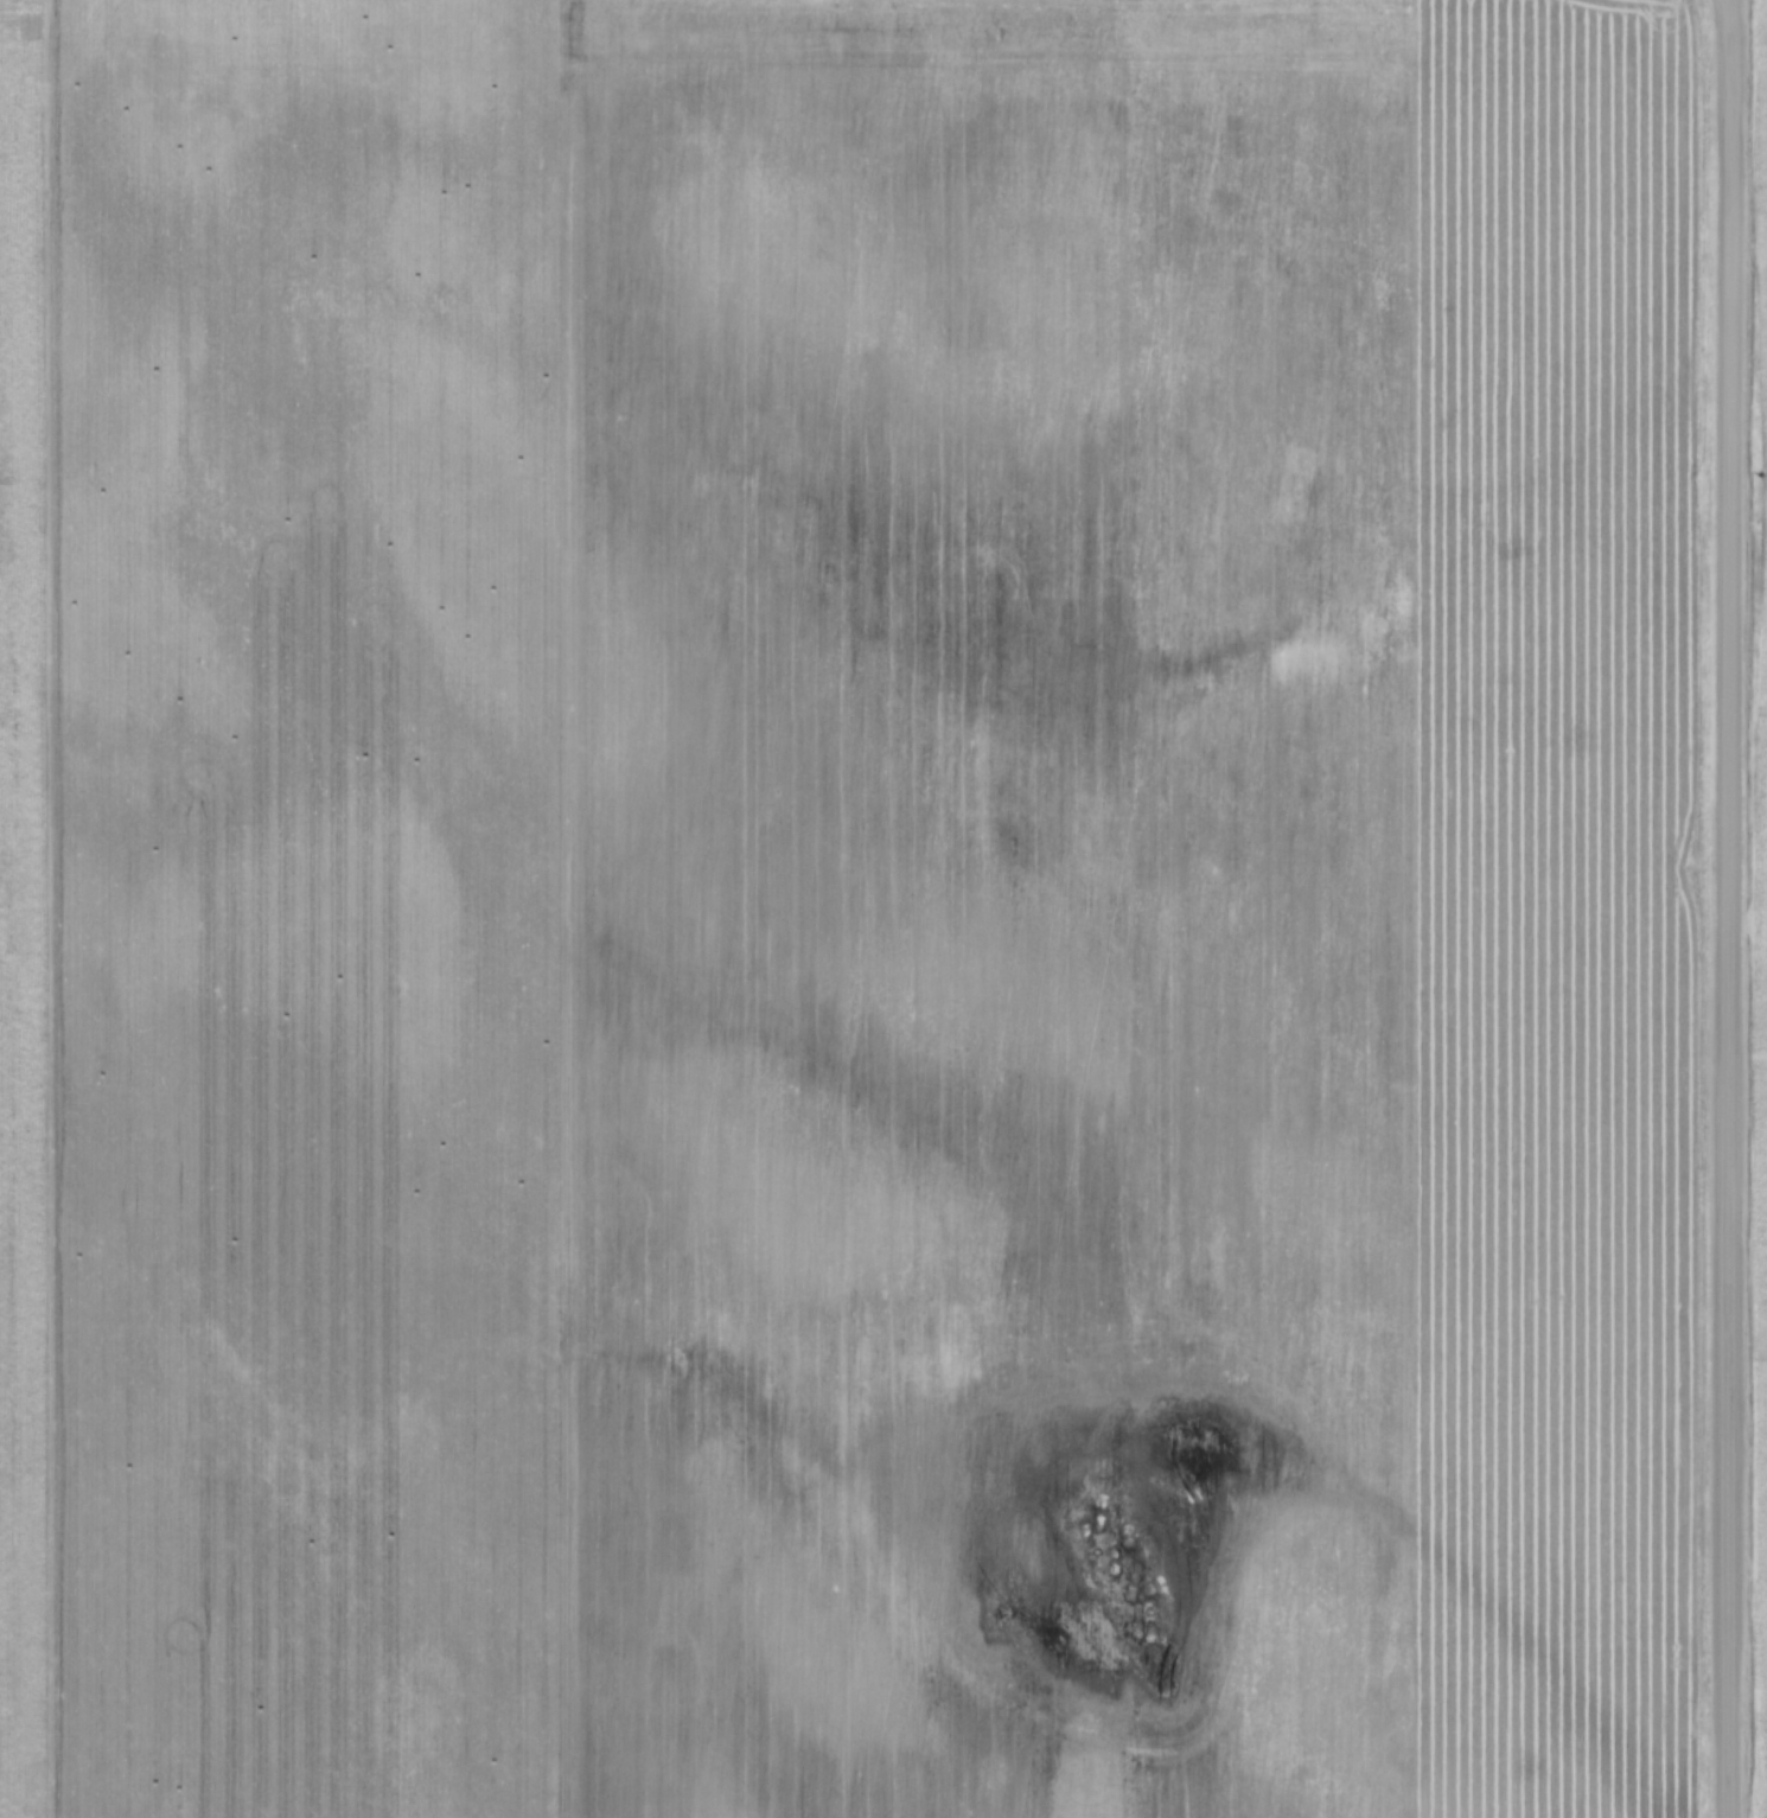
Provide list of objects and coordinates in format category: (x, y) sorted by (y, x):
road: (1725, 908)

